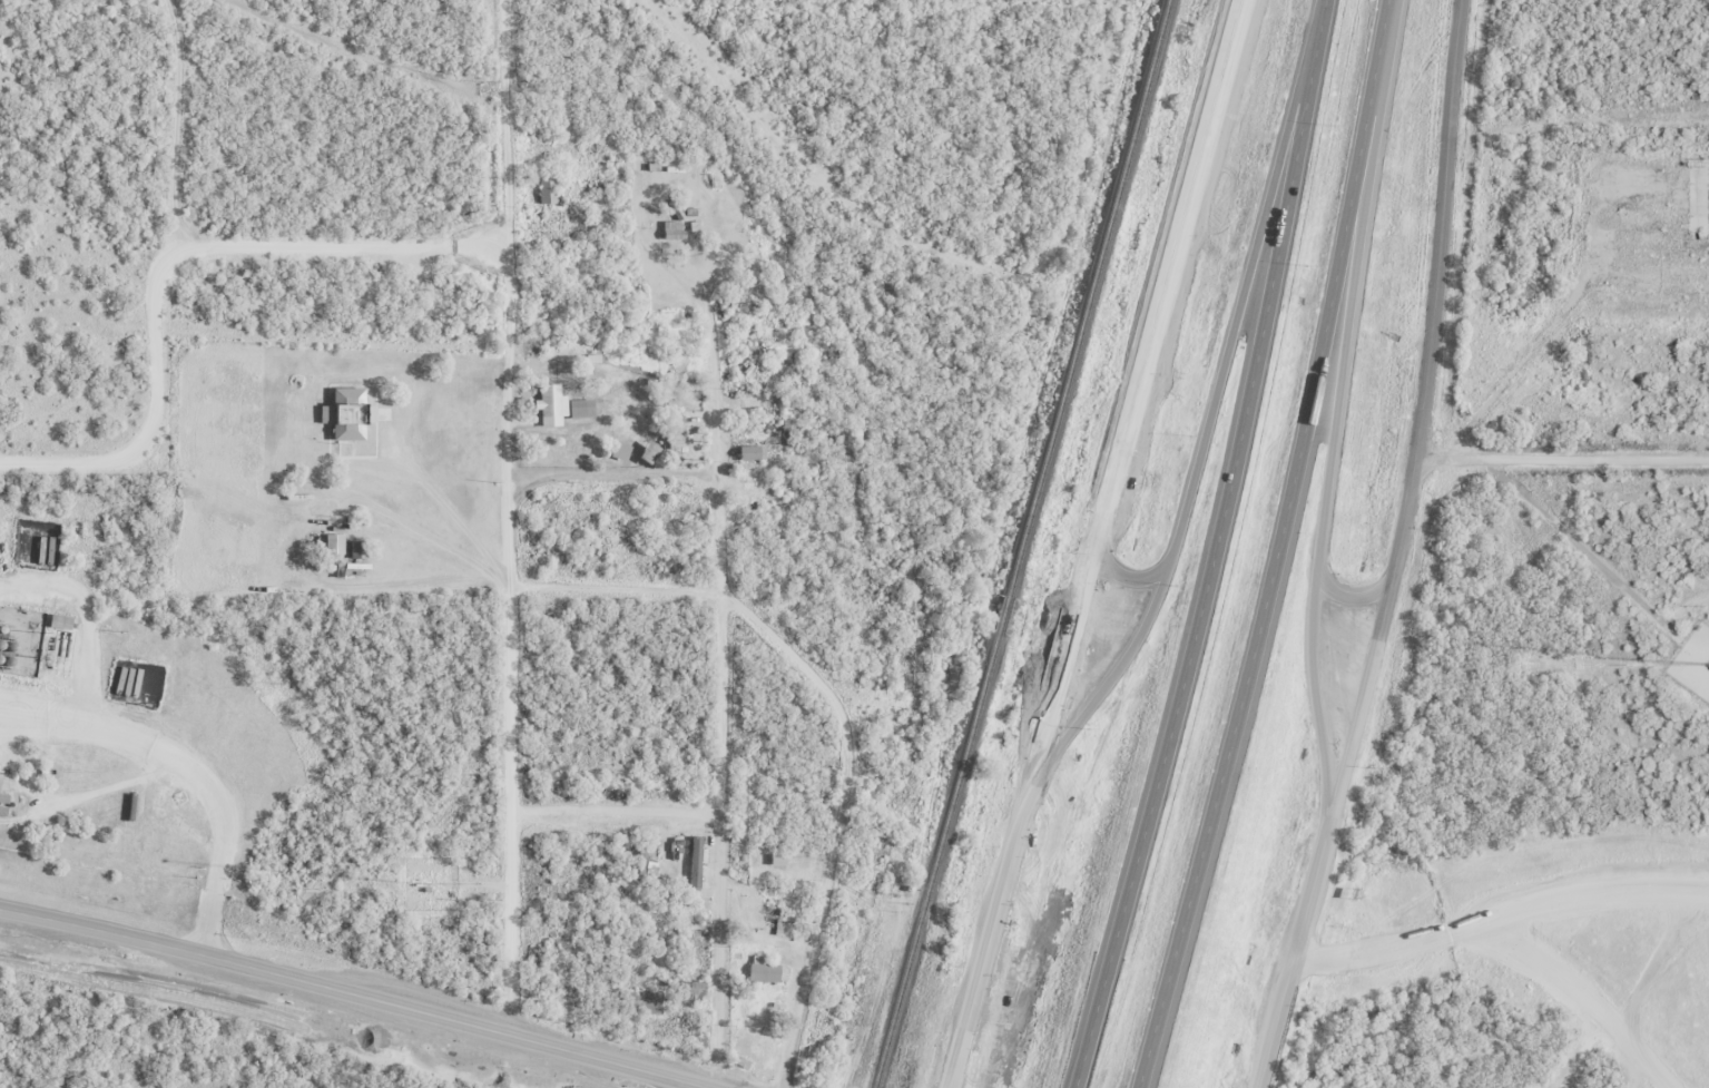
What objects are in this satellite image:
building: (543, 189)
road: (716, 378)
road: (1133, 392)
road: (1335, 406)
road: (1420, 412)
building: (344, 413)
building: (674, 429)
road: (1204, 429)
building: (617, 450)
building: (748, 451)
building: (645, 452)
road: (1561, 457)
road: (606, 474)
road: (507, 517)
building: (331, 543)
railway: (1018, 543)
road: (1214, 547)
road: (1277, 547)
building: (355, 549)
road: (1113, 575)
road: (613, 588)
road: (1343, 598)
road: (720, 782)
road: (613, 812)
road: (838, 816)
building: (769, 927)
road: (989, 937)
road: (1293, 952)
building: (764, 971)
road: (355, 994)

